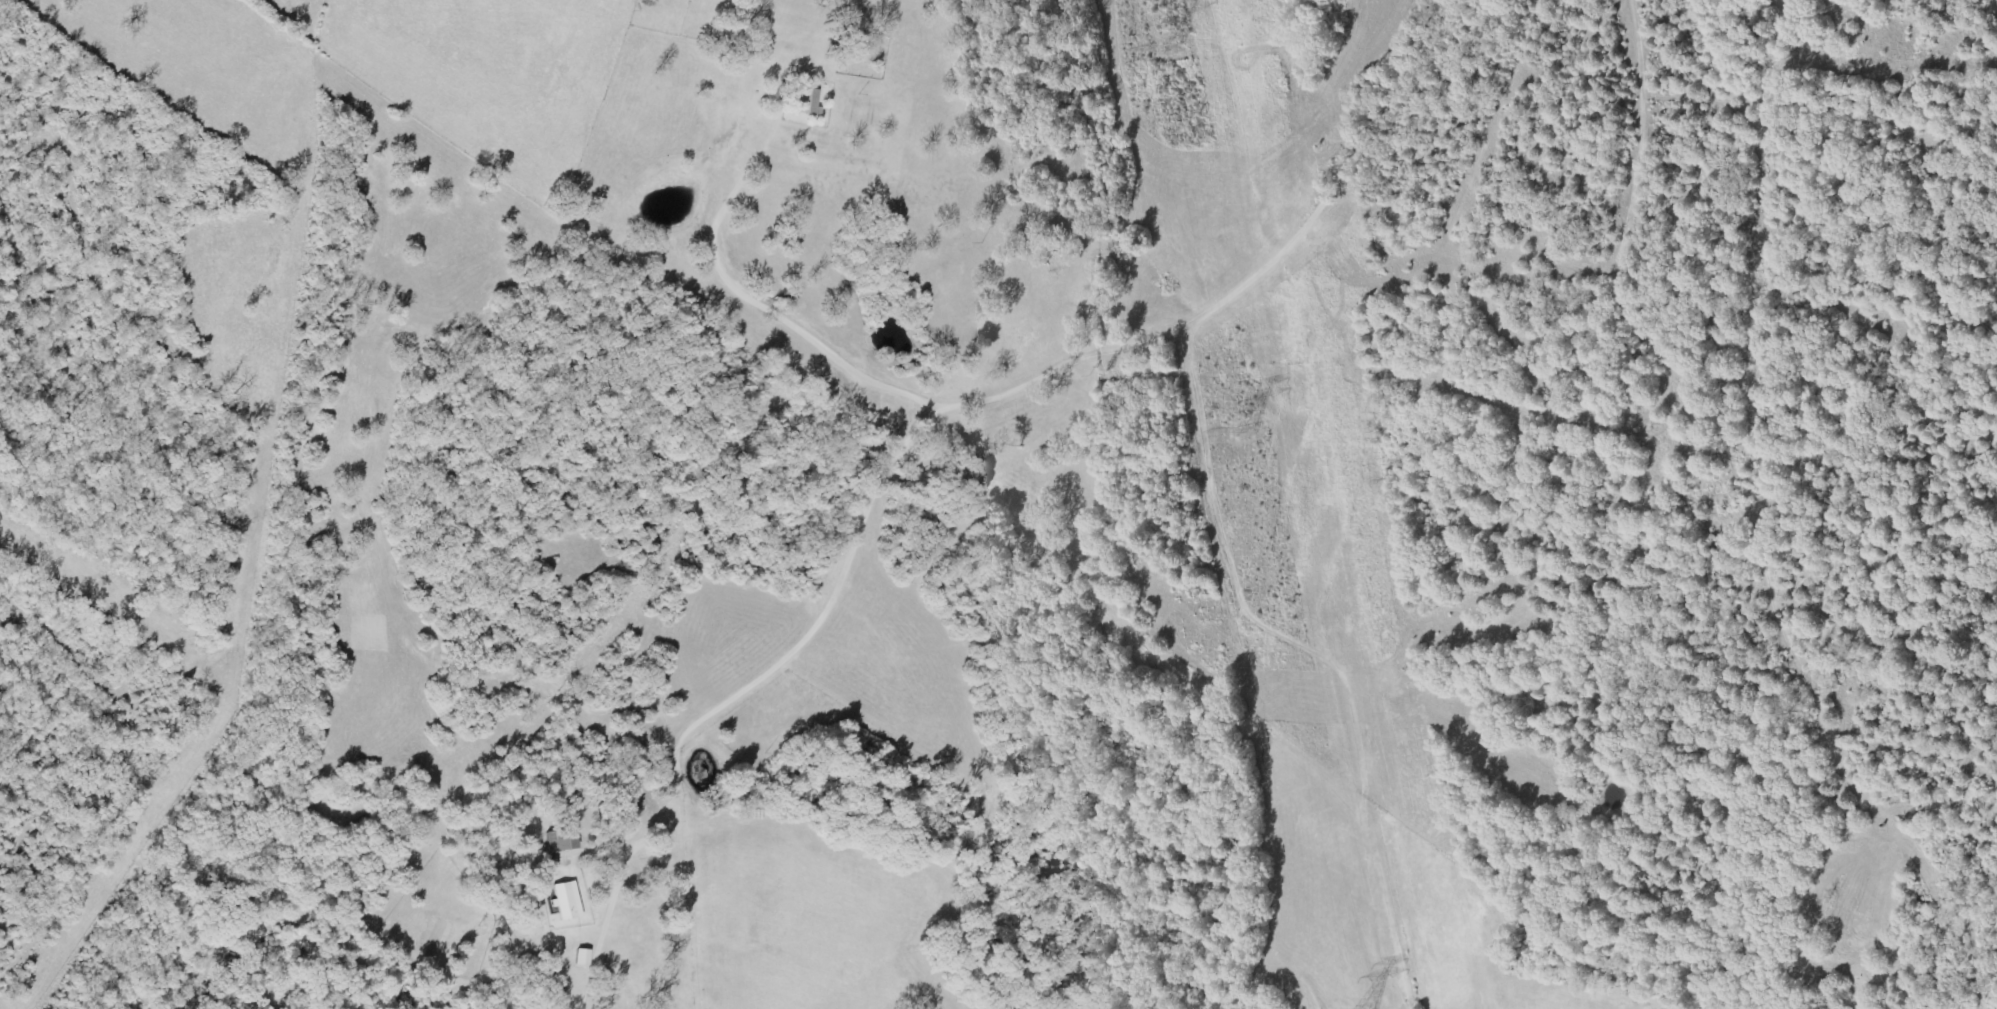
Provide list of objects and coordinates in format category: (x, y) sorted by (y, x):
road: (1928, 12)
power tower: (1169, 49)
building: (809, 102)
road: (1028, 410)
power tower: (1243, 428)
road: (1618, 510)
road: (1055, 717)
building: (561, 841)
building: (566, 902)
building: (582, 958)

